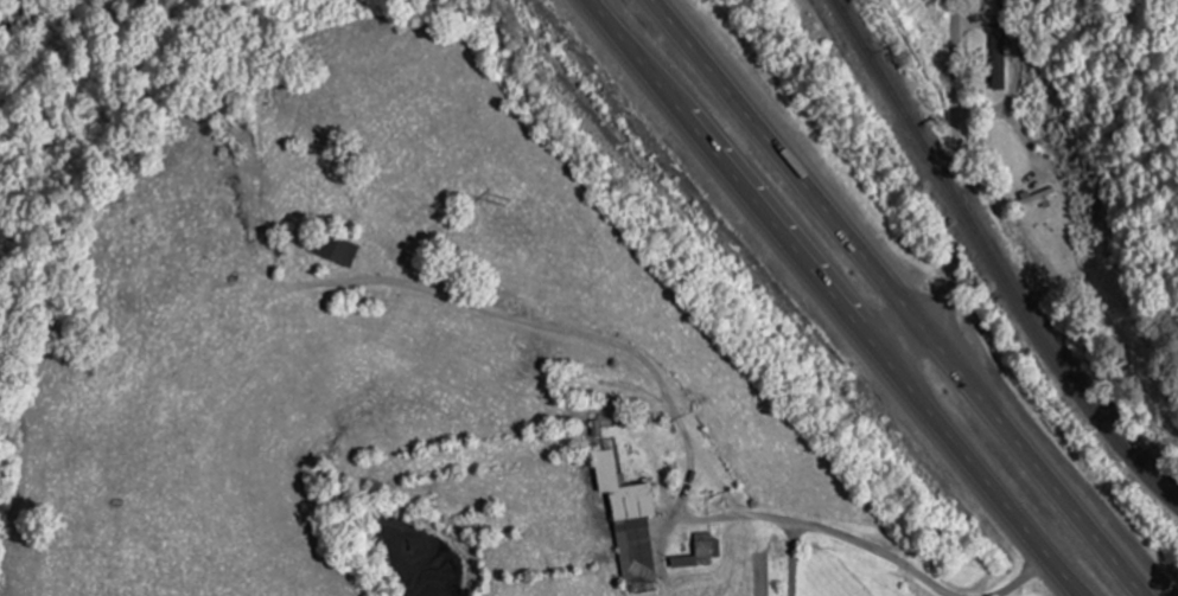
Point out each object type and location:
road: (959, 65)
building: (999, 70)
road: (1023, 84)
road: (777, 162)
road: (731, 175)
building: (335, 250)
railway: (992, 259)
road: (936, 305)
road: (893, 339)
road: (1024, 460)
road: (975, 474)
building: (629, 521)
building: (700, 553)

